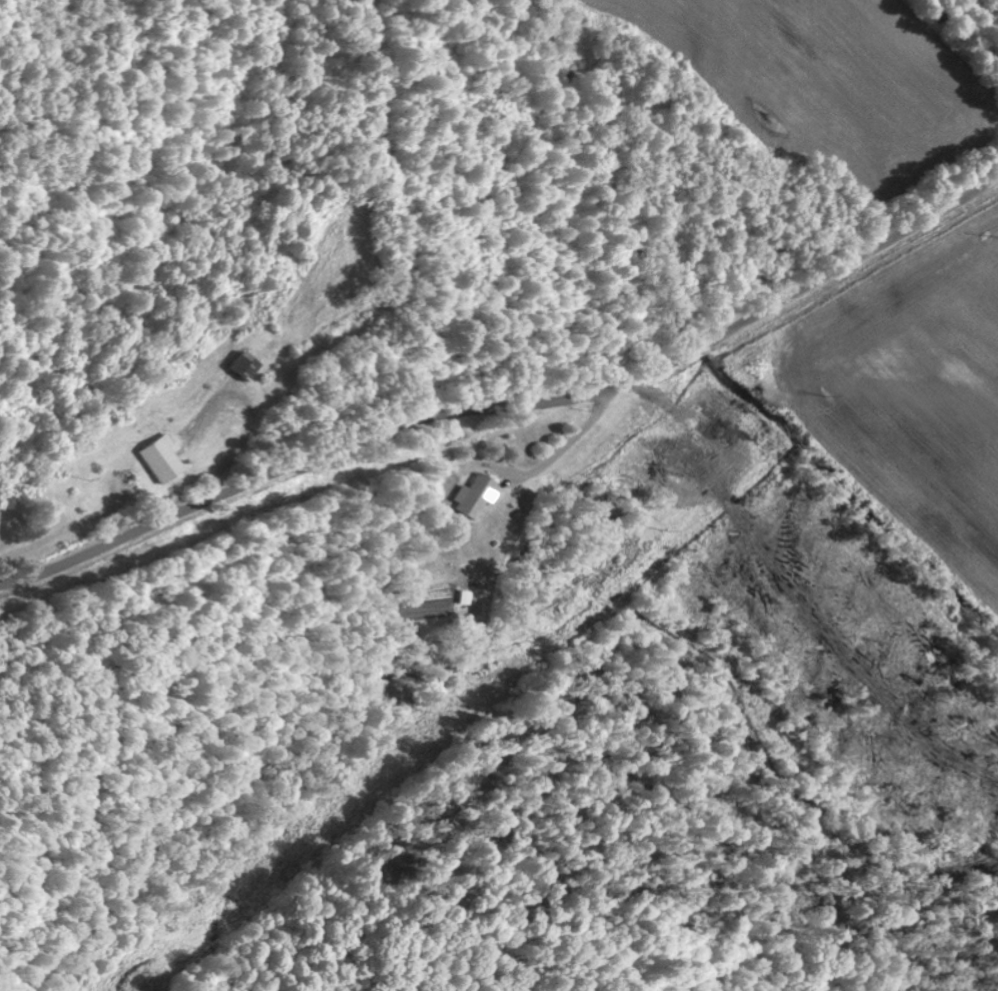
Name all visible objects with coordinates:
building: (245, 365)
road: (510, 406)
building: (160, 459)
building: (475, 495)

